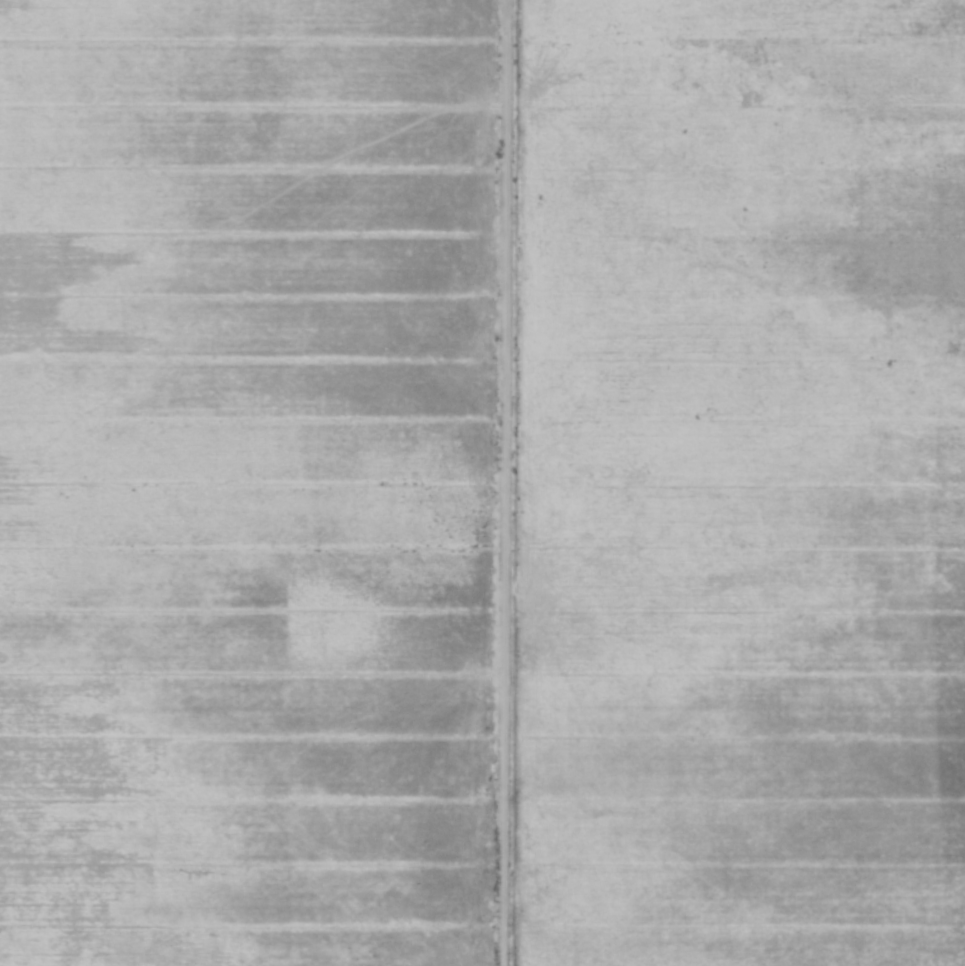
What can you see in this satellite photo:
crop: (248, 482)
crop: (737, 483)

